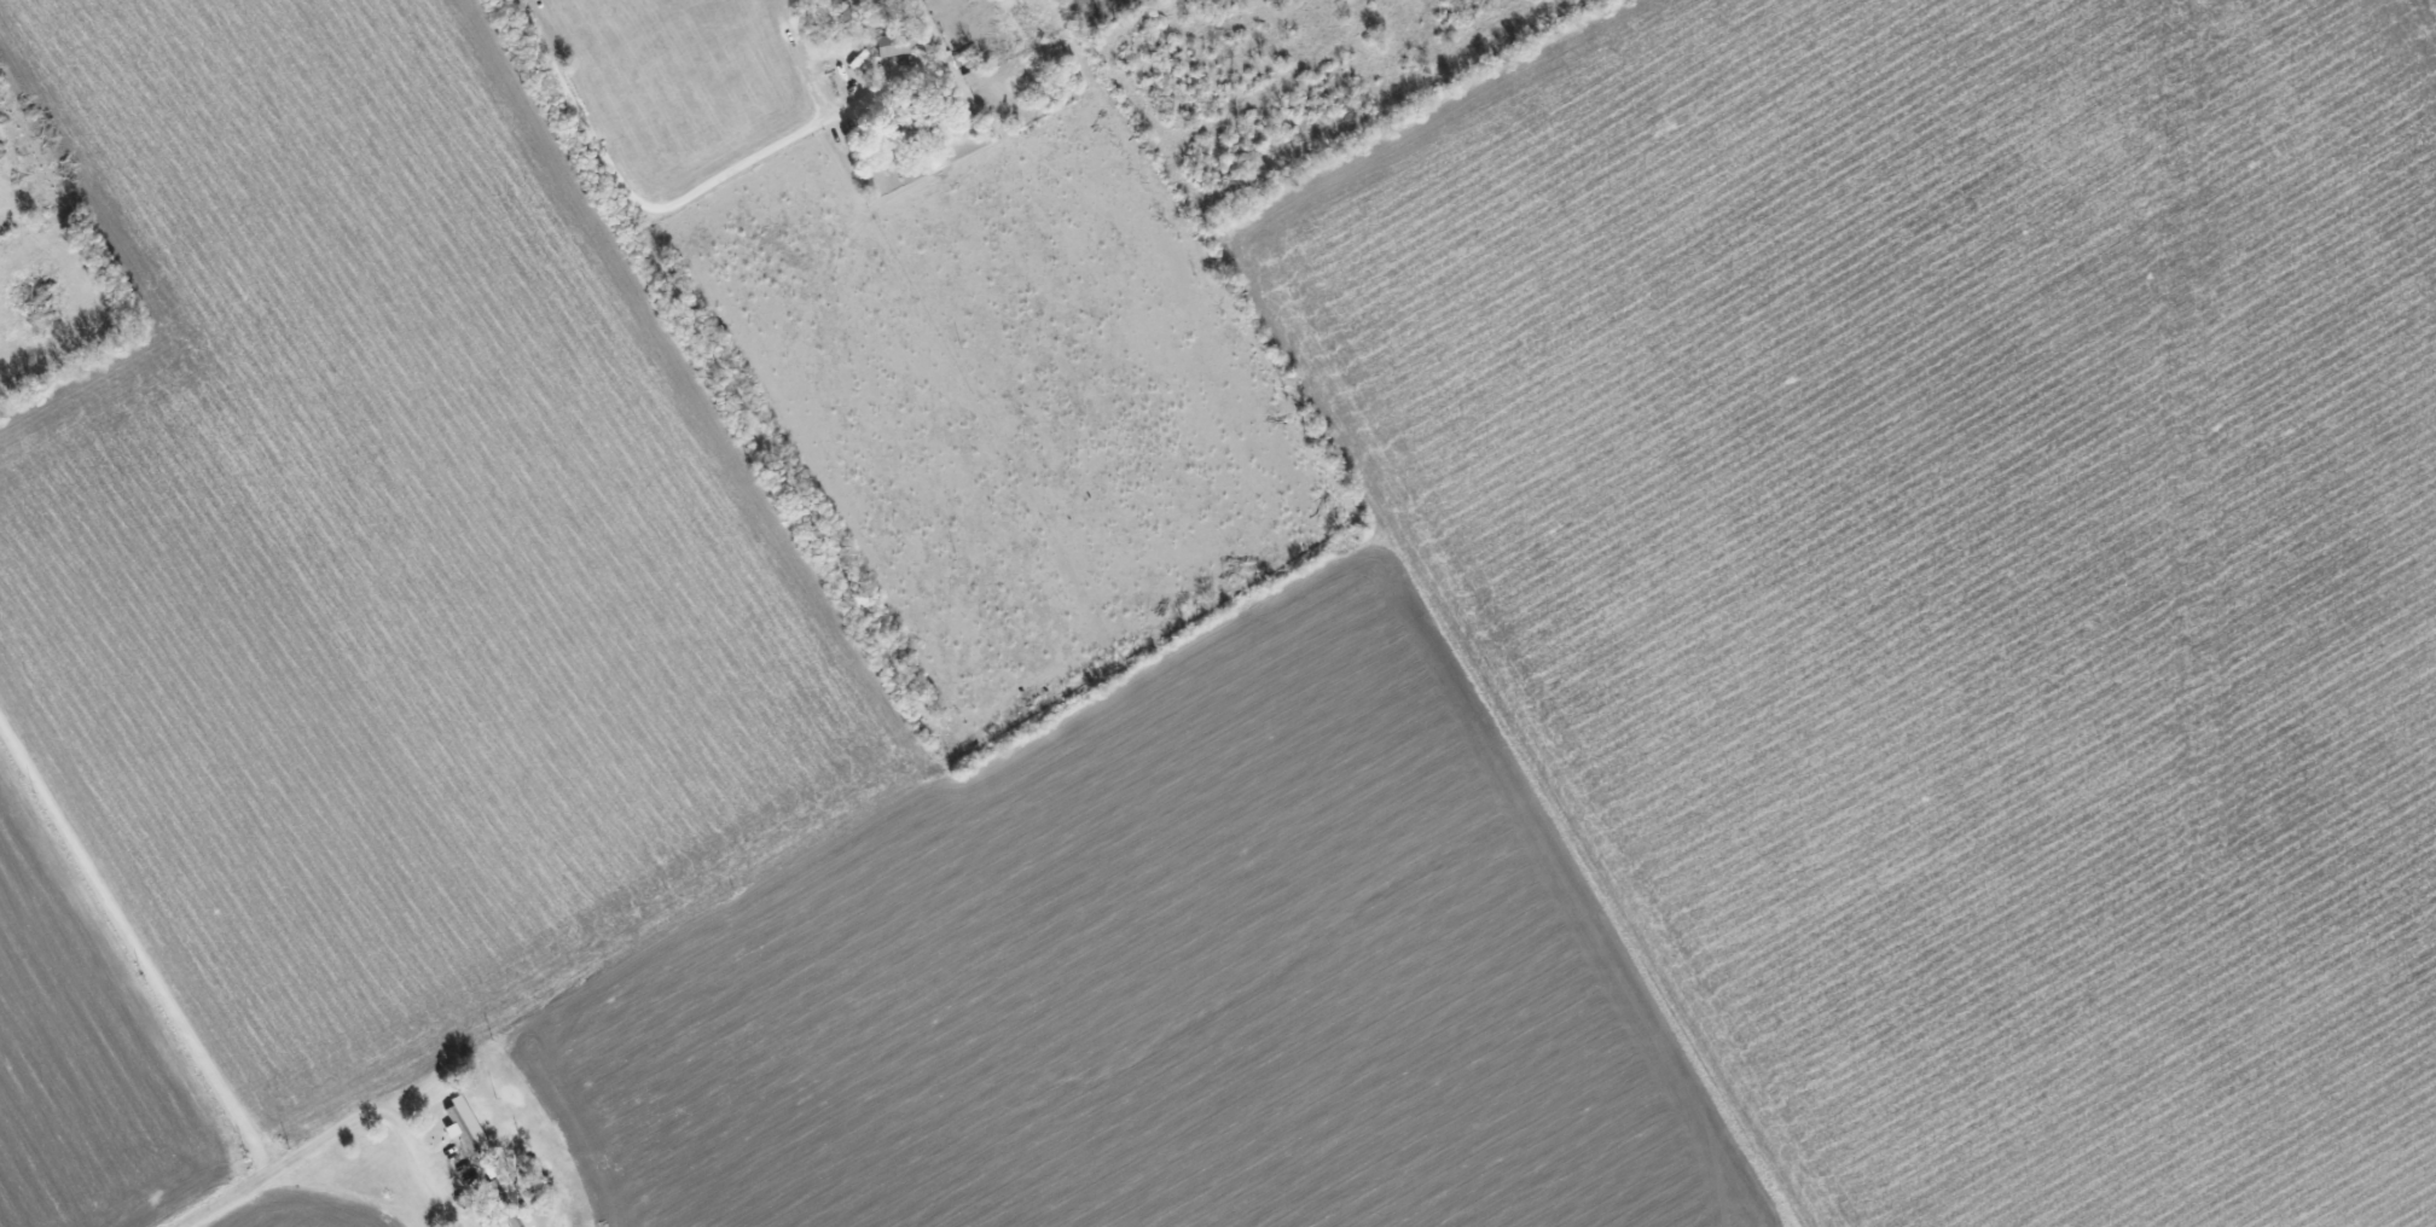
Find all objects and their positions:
building: (893, 43)
road: (683, 181)
road: (159, 988)
road: (378, 1113)
building: (468, 1129)
building: (505, 1194)

